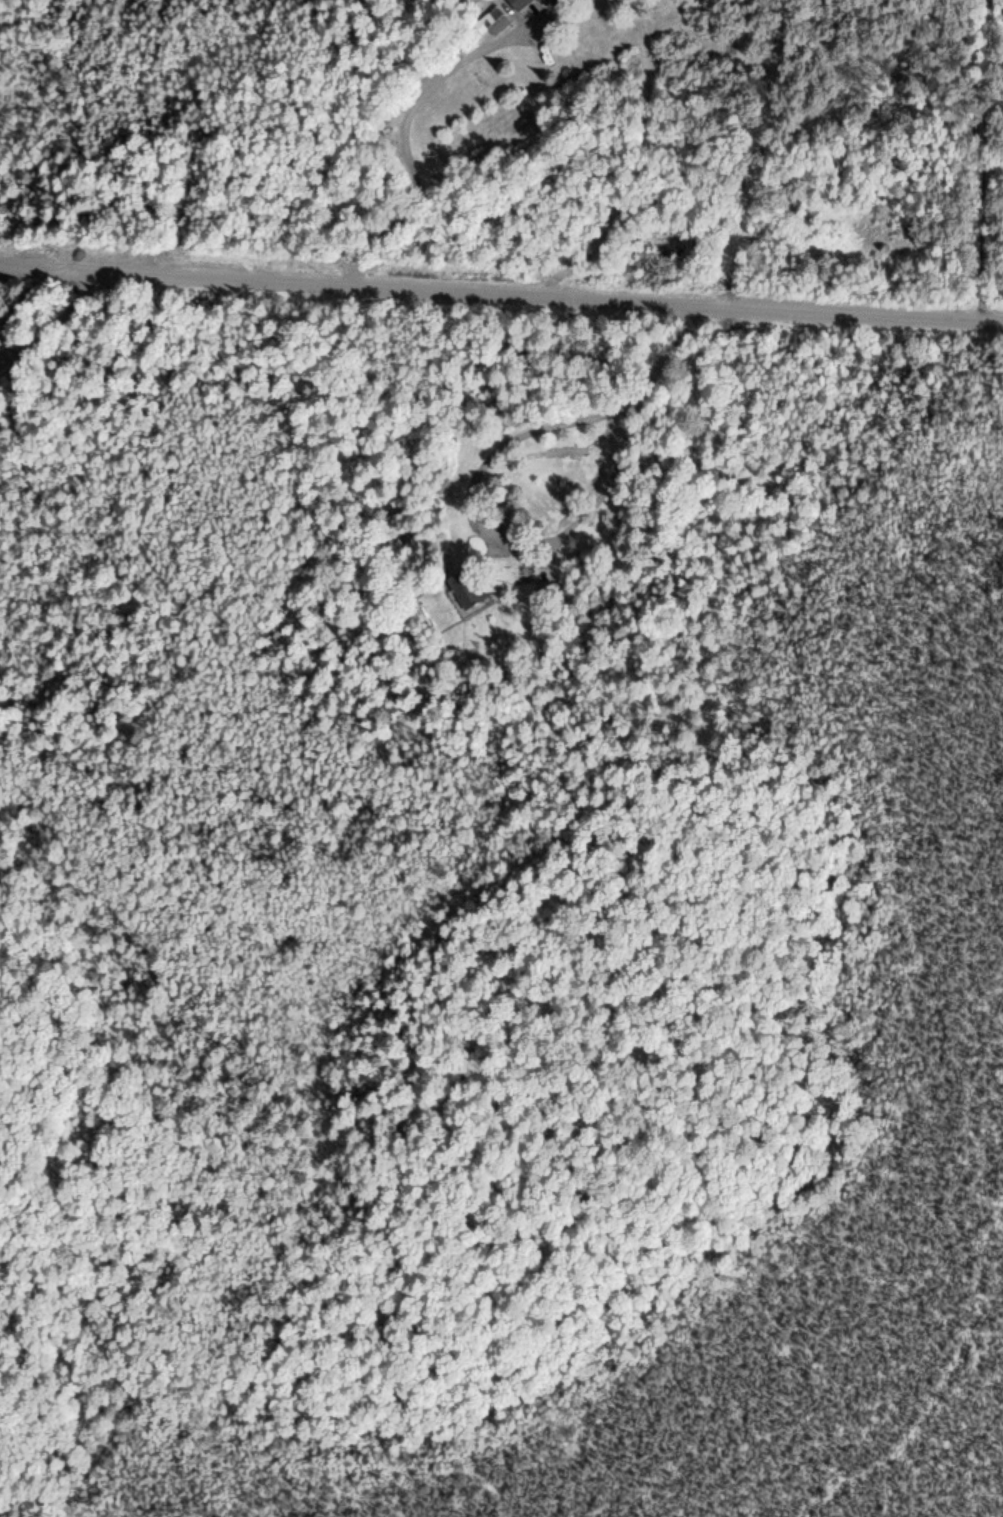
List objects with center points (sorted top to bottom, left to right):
road: (402, 133)
road: (987, 160)
road: (501, 293)
road: (522, 538)

